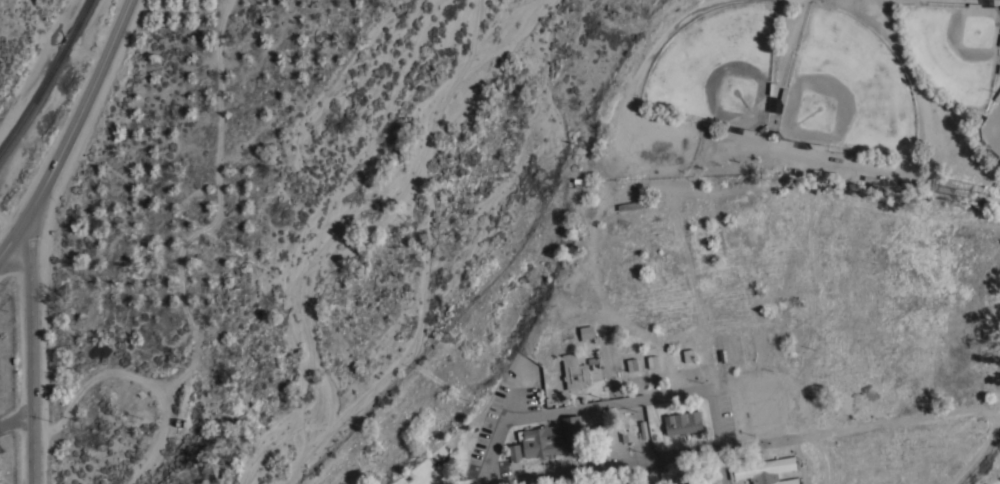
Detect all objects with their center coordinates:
railway: (46, 76)
road: (69, 131)
building: (633, 205)
building: (586, 333)
building: (721, 350)
road: (34, 355)
building: (686, 355)
building: (574, 372)
road: (618, 402)
road: (18, 419)
building: (682, 423)
building: (571, 432)
building: (603, 435)
building: (625, 435)
building: (539, 442)
building: (514, 453)
road: (573, 471)
building: (765, 471)
building: (709, 477)
building: (680, 479)

